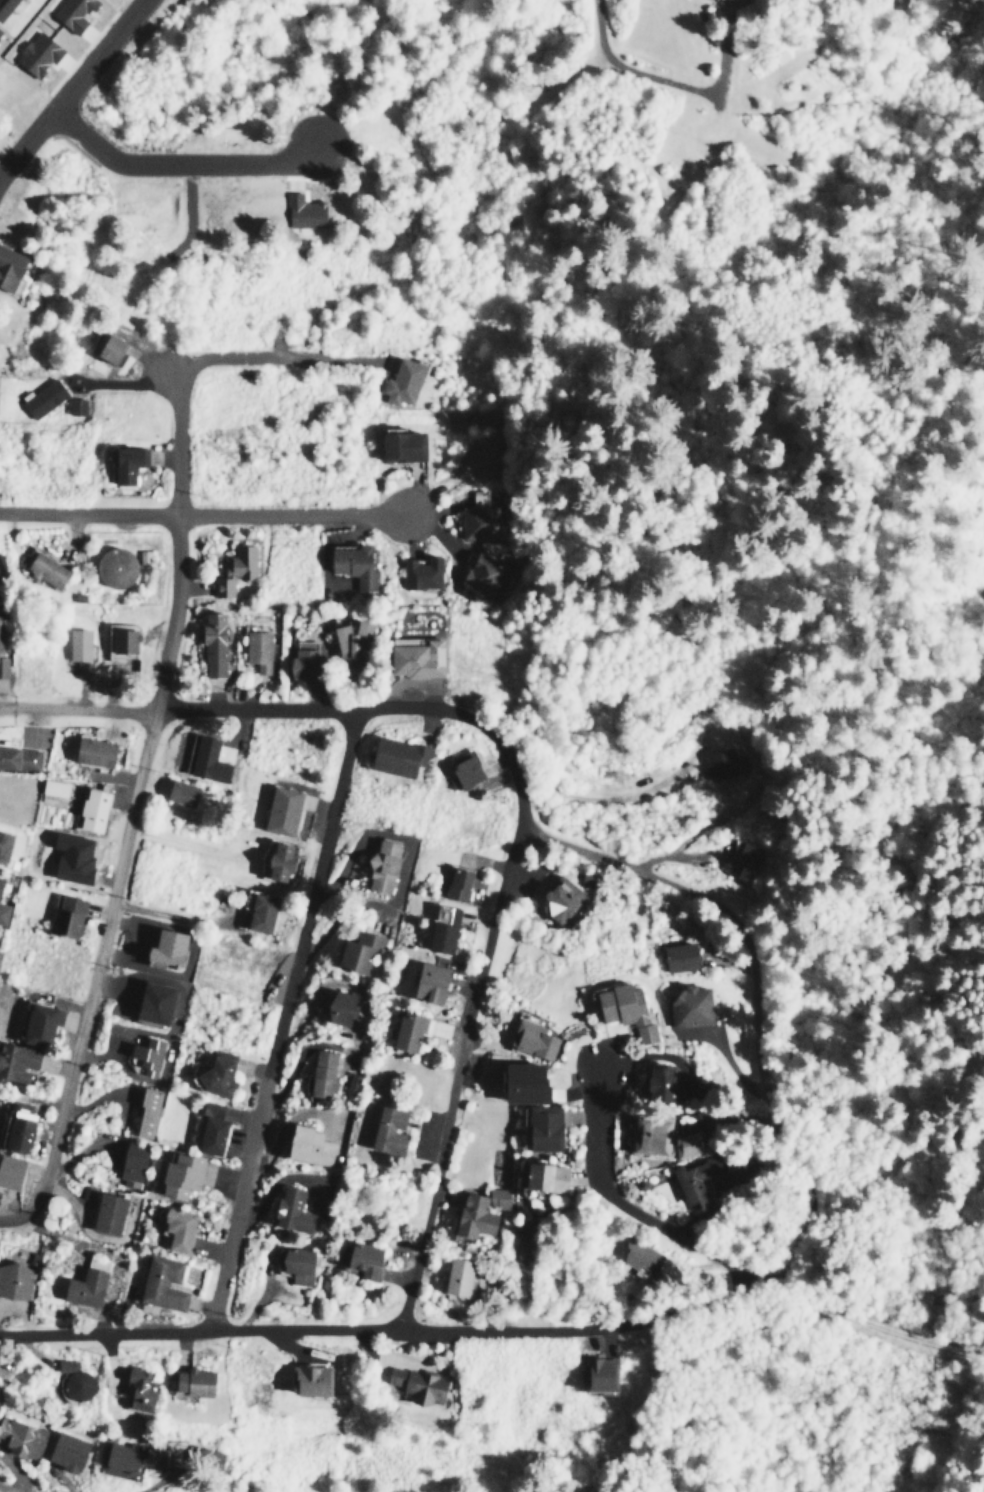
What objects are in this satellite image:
building: (739, 0)
building: (4, 6)
building: (71, 12)
building: (36, 53)
road: (638, 63)
road: (70, 87)
road: (180, 160)
building: (302, 210)
building: (8, 266)
building: (109, 348)
building: (401, 380)
building: (42, 397)
building: (75, 404)
road: (175, 435)
building: (400, 445)
building: (126, 462)
road: (88, 511)
road: (292, 512)
building: (478, 517)
building: (352, 565)
building: (44, 567)
building: (114, 567)
building: (234, 568)
building: (420, 572)
building: (480, 573)
road: (165, 611)
building: (350, 639)
building: (121, 640)
building: (212, 644)
building: (78, 649)
building: (257, 649)
building: (415, 658)
building: (303, 659)
building: (3, 665)
road: (256, 710)
building: (92, 751)
building: (398, 755)
building: (18, 757)
building: (205, 759)
building: (718, 763)
building: (464, 768)
road: (519, 784)
building: (52, 790)
building: (181, 792)
building: (90, 809)
building: (281, 810)
building: (4, 844)
building: (71, 856)
building: (745, 857)
building: (274, 859)
building: (381, 864)
building: (0, 878)
building: (456, 883)
building: (560, 898)
building: (259, 911)
building: (2, 912)
building: (64, 915)
building: (442, 927)
building: (164, 947)
building: (359, 951)
building: (678, 956)
road: (90, 976)
building: (428, 981)
building: (153, 1001)
building: (688, 1005)
building: (341, 1007)
building: (625, 1009)
road: (284, 1017)
building: (37, 1022)
building: (406, 1031)
building: (531, 1038)
building: (146, 1054)
building: (16, 1062)
building: (320, 1072)
building: (216, 1073)
road: (457, 1080)
building: (521, 1081)
building: (351, 1082)
building: (658, 1083)
building: (145, 1112)
building: (540, 1127)
building: (210, 1128)
building: (18, 1130)
building: (387, 1130)
building: (647, 1134)
building: (685, 1143)
building: (307, 1144)
road: (898, 1152)
building: (131, 1164)
road: (808, 1165)
building: (10, 1170)
building: (178, 1175)
building: (544, 1176)
building: (697, 1180)
building: (497, 1197)
road: (632, 1206)
building: (290, 1210)
building: (106, 1213)
building: (473, 1215)
building: (176, 1228)
building: (638, 1258)
building: (363, 1260)
building: (294, 1263)
building: (457, 1275)
building: (15, 1280)
building: (161, 1283)
building: (83, 1287)
road: (874, 1298)
road: (202, 1326)
building: (598, 1373)
building: (74, 1379)
building: (309, 1380)
building: (192, 1381)
building: (416, 1383)
building: (138, 1387)
building: (41, 1443)
building: (132, 1456)
building: (207, 1457)
road: (8, 1486)

